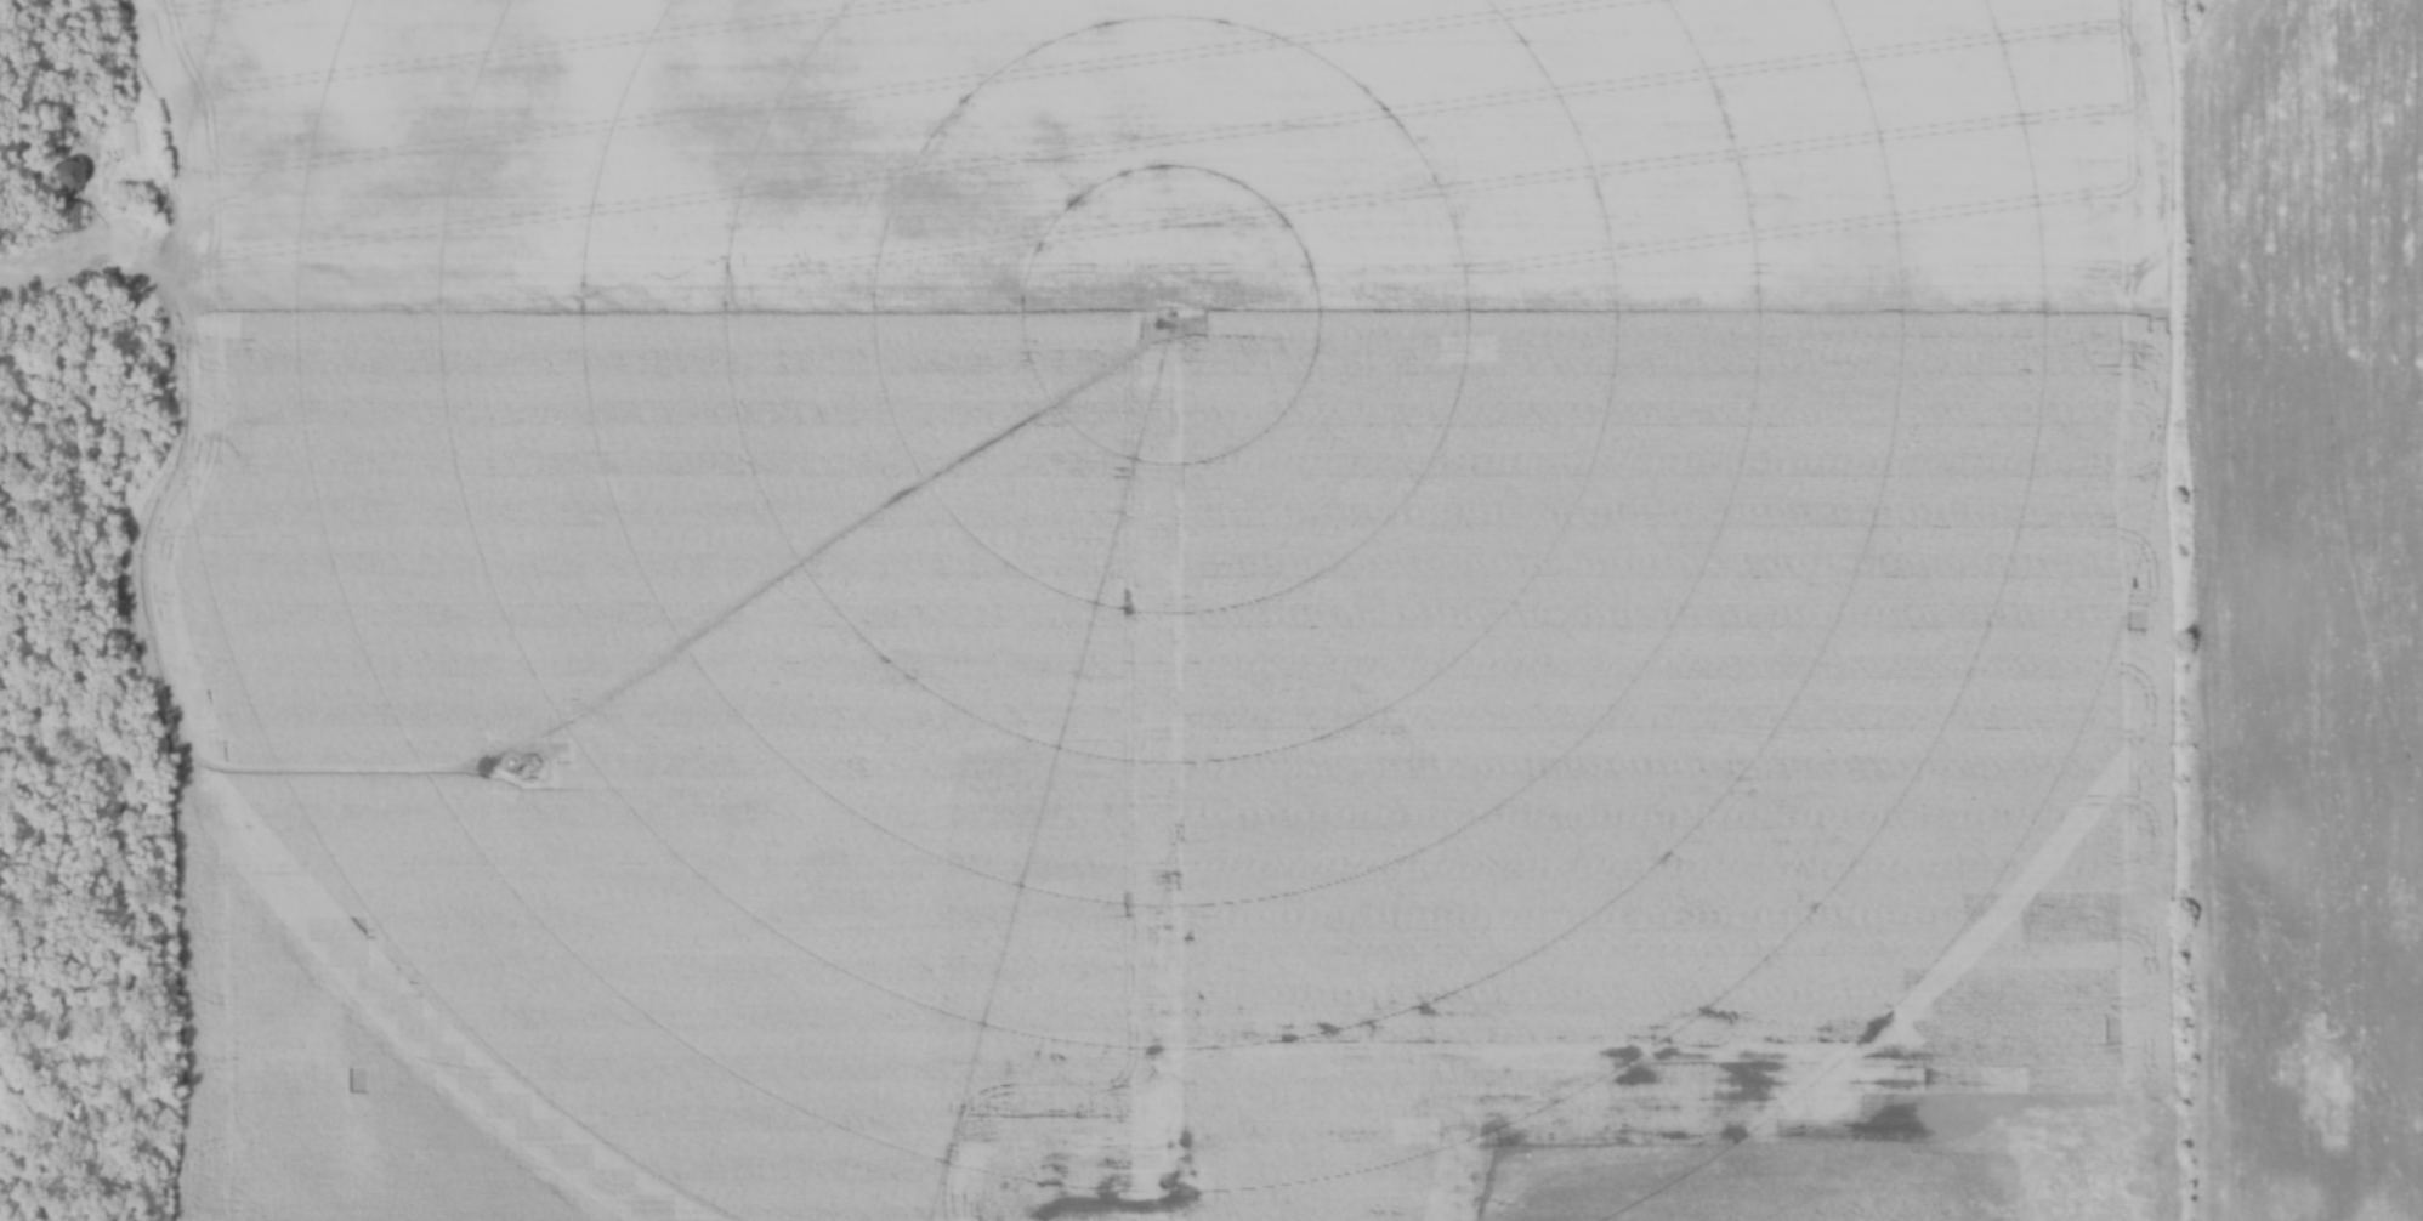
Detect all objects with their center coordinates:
building: (72, 175)
building: (132, 454)

